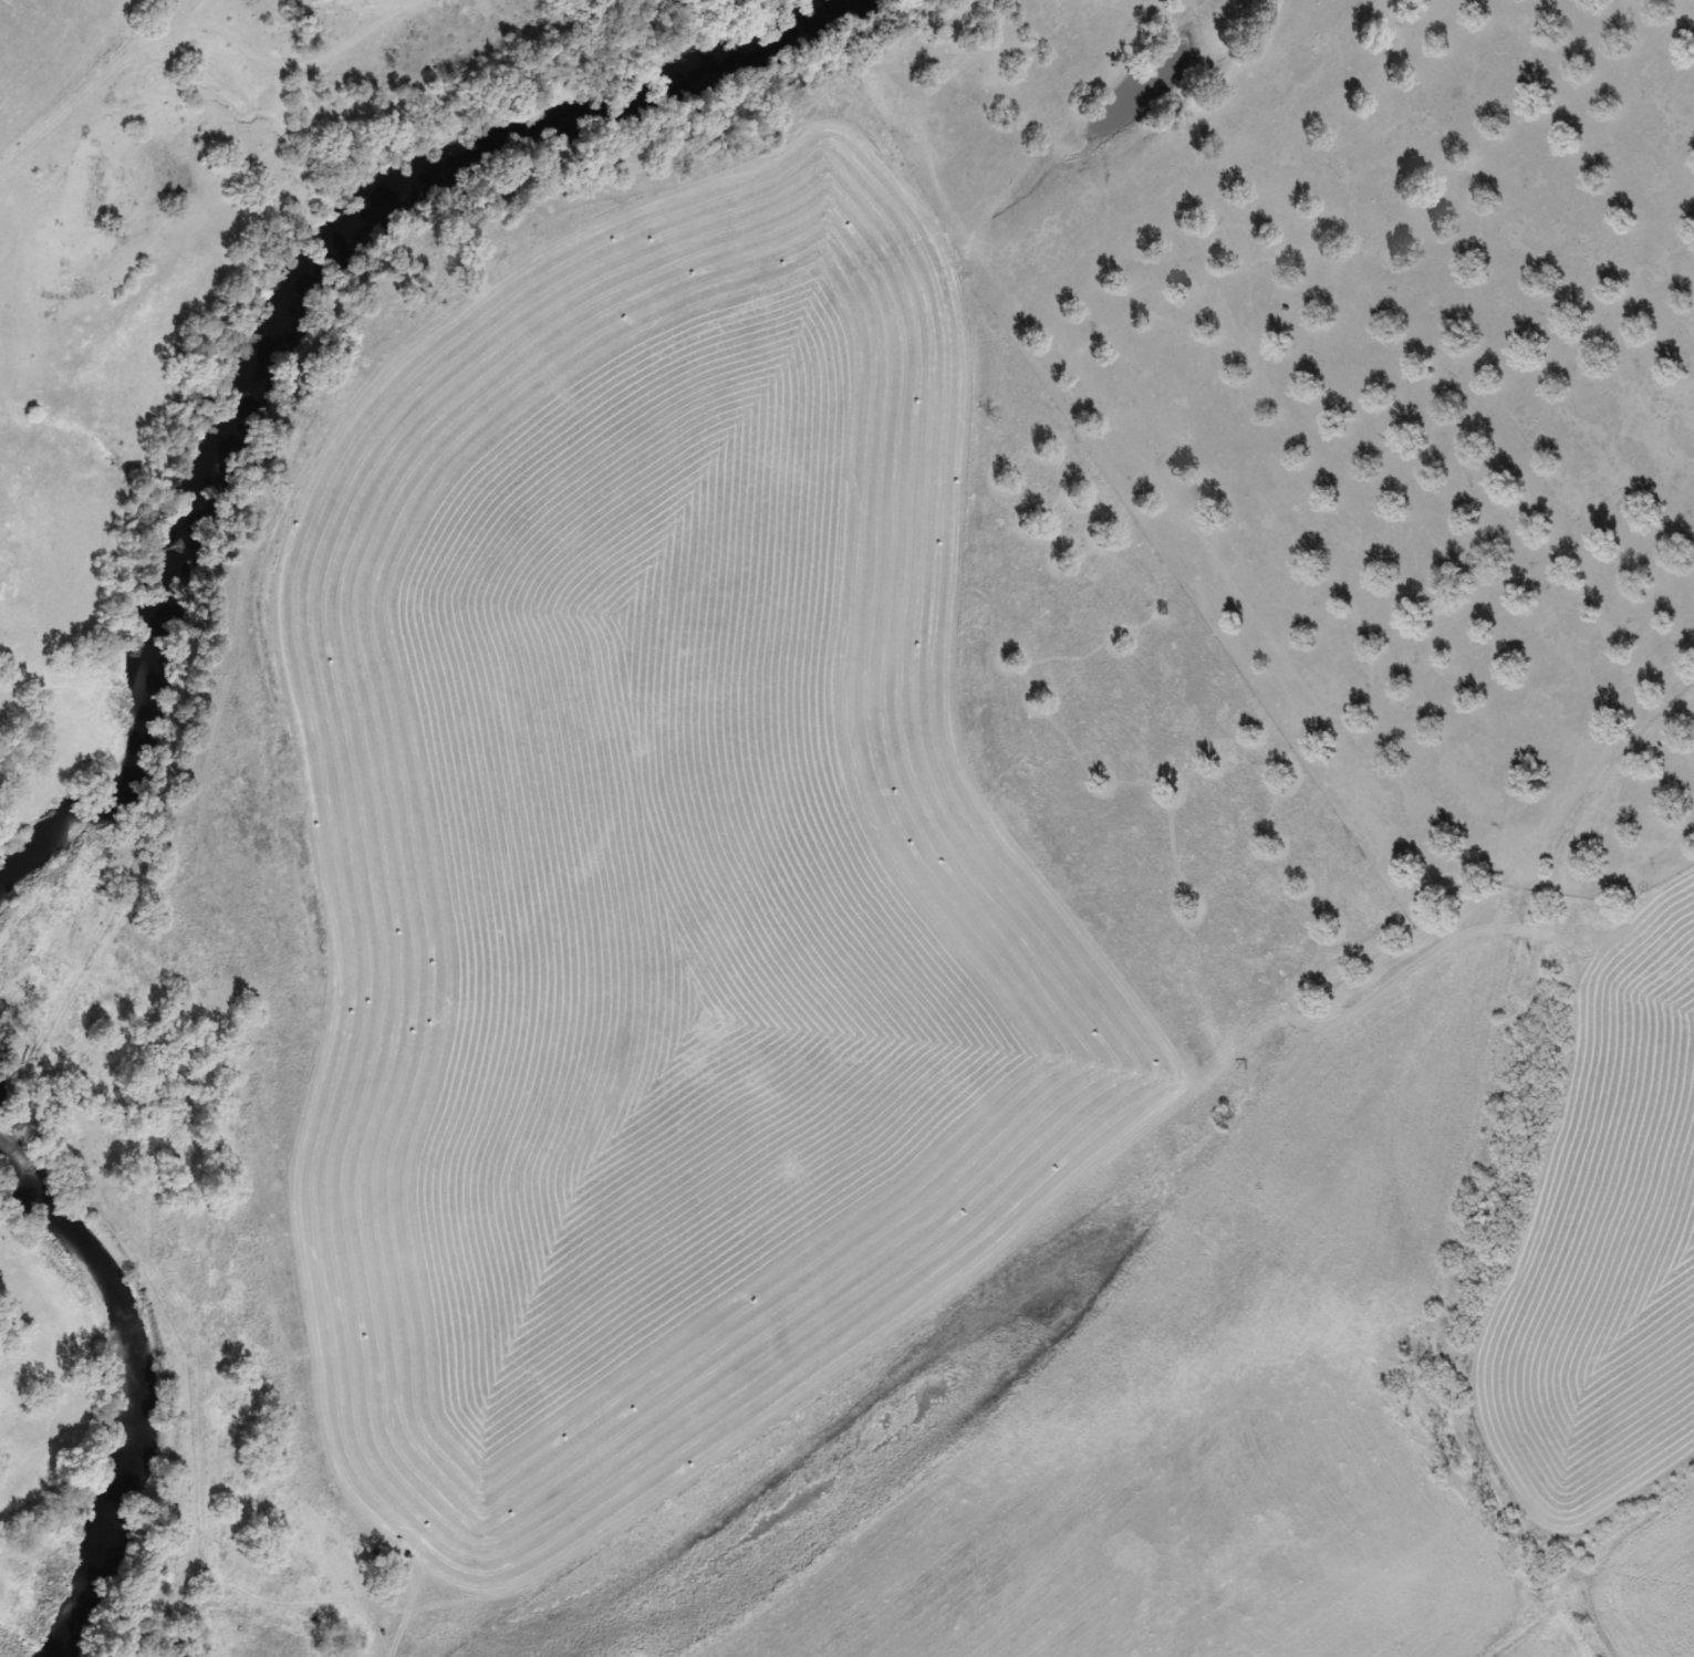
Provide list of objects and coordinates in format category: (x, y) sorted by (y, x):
river: (308, 344)
river: (118, 1385)

